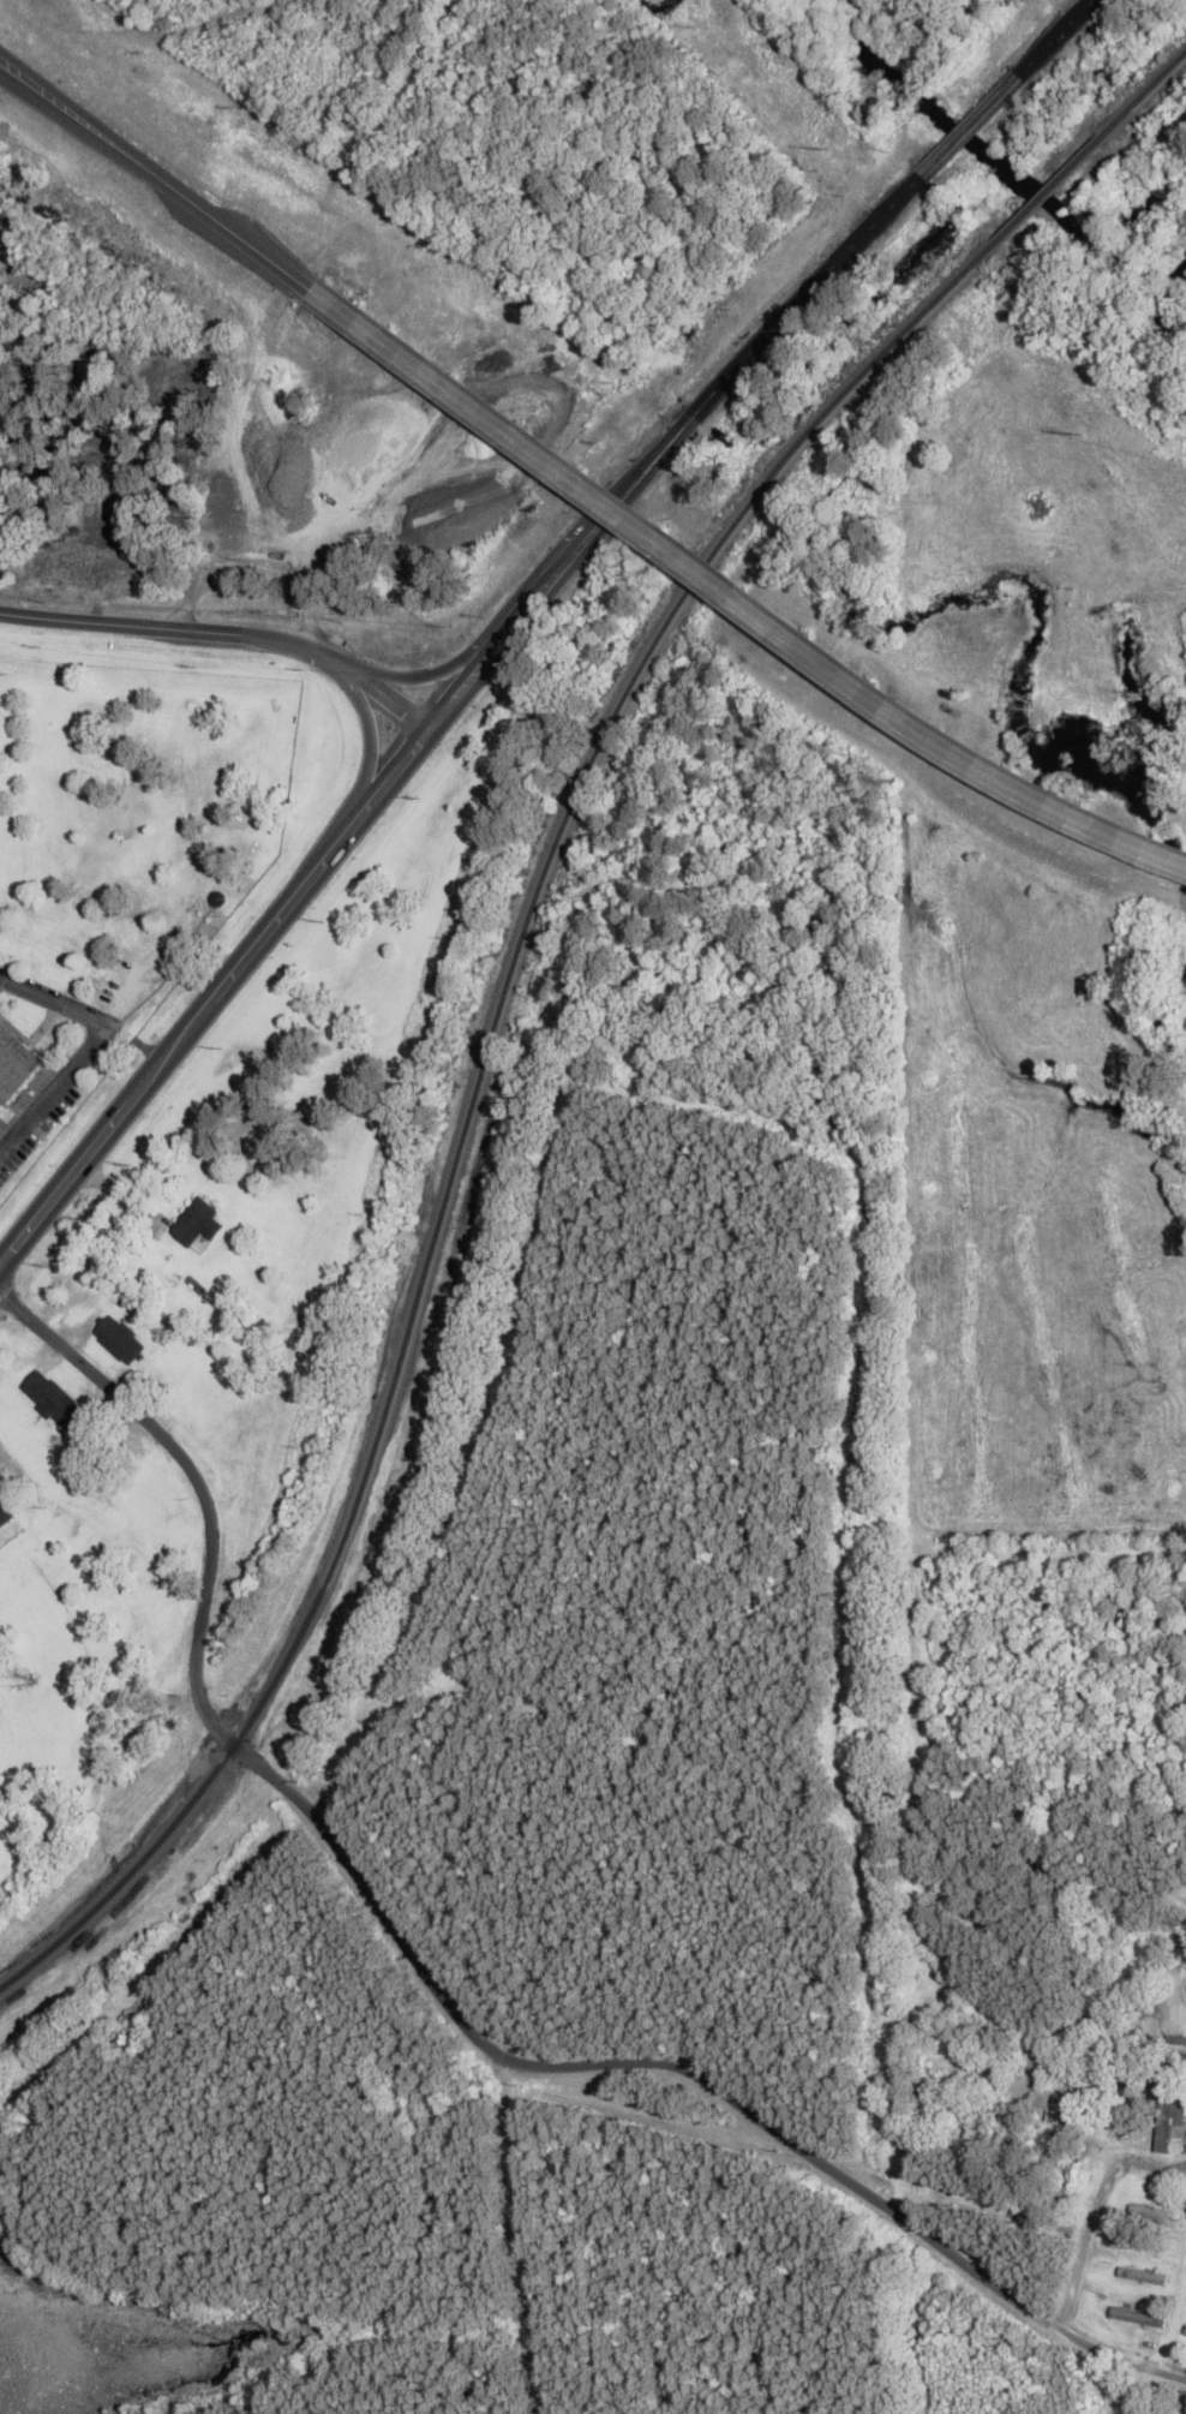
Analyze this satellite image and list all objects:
road: (1052, 36)
railway: (1144, 96)
road: (968, 124)
power tower: (829, 149)
river: (1001, 161)
road: (157, 174)
railway: (1048, 191)
river: (1163, 289)
power tower: (1083, 436)
road: (664, 443)
road: (738, 596)
road: (229, 628)
road: (424, 673)
road: (369, 737)
road: (321, 864)
road: (53, 1002)
building: (0, 1003)
building: (13, 1065)
road: (53, 1088)
railway: (472, 1105)
road: (106, 1131)
building: (197, 1221)
building: (120, 1339)
building: (54, 1400)
building: (4, 1513)
road: (315, 1815)
building: (1176, 2062)
building: (1170, 2122)
road: (851, 2180)
building: (1149, 2213)
road: (1101, 2224)
building: (1142, 2276)
building: (1138, 2318)
building: (1185, 2332)
road: (1178, 2341)

